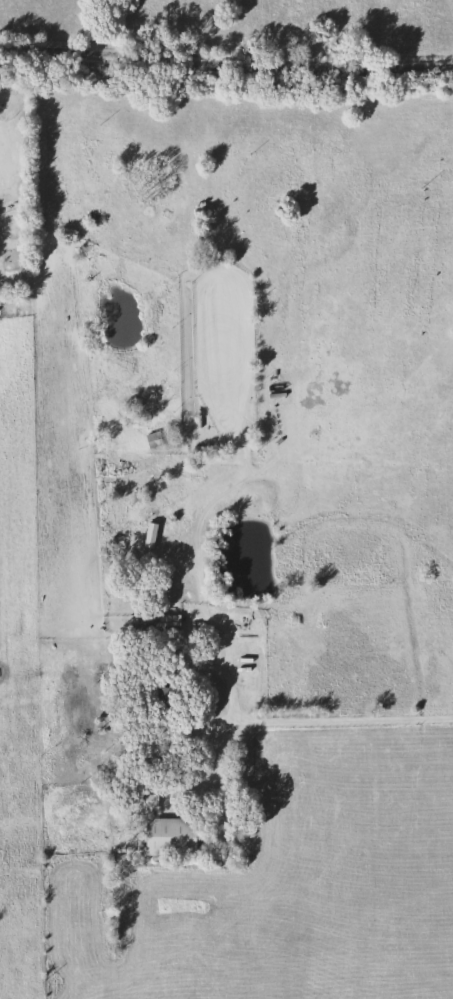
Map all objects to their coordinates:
road: (226, 63)
building: (152, 439)
building: (153, 626)
building: (164, 698)
road: (347, 723)
building: (168, 836)

